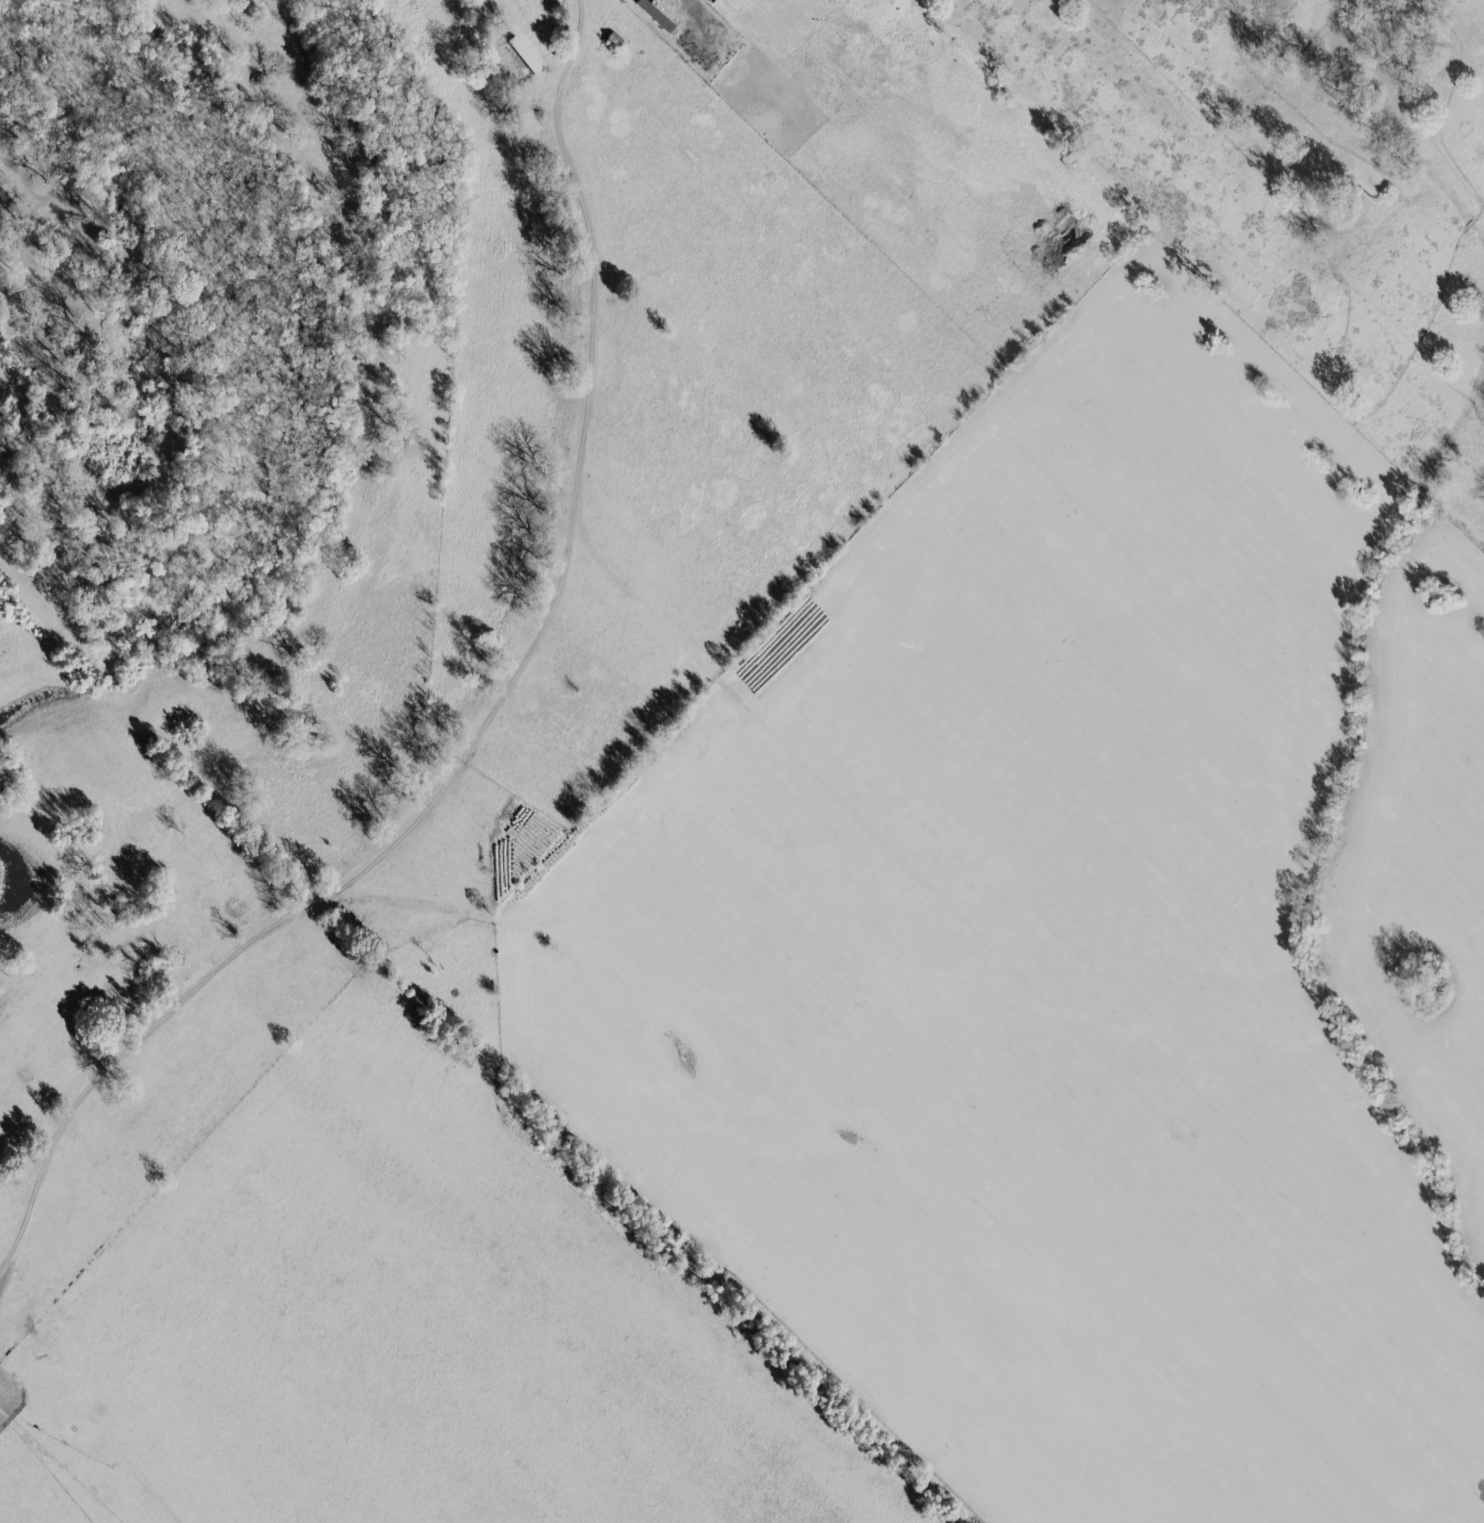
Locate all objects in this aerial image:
building: (651, 15)
park: (1290, 176)
road: (483, 712)

